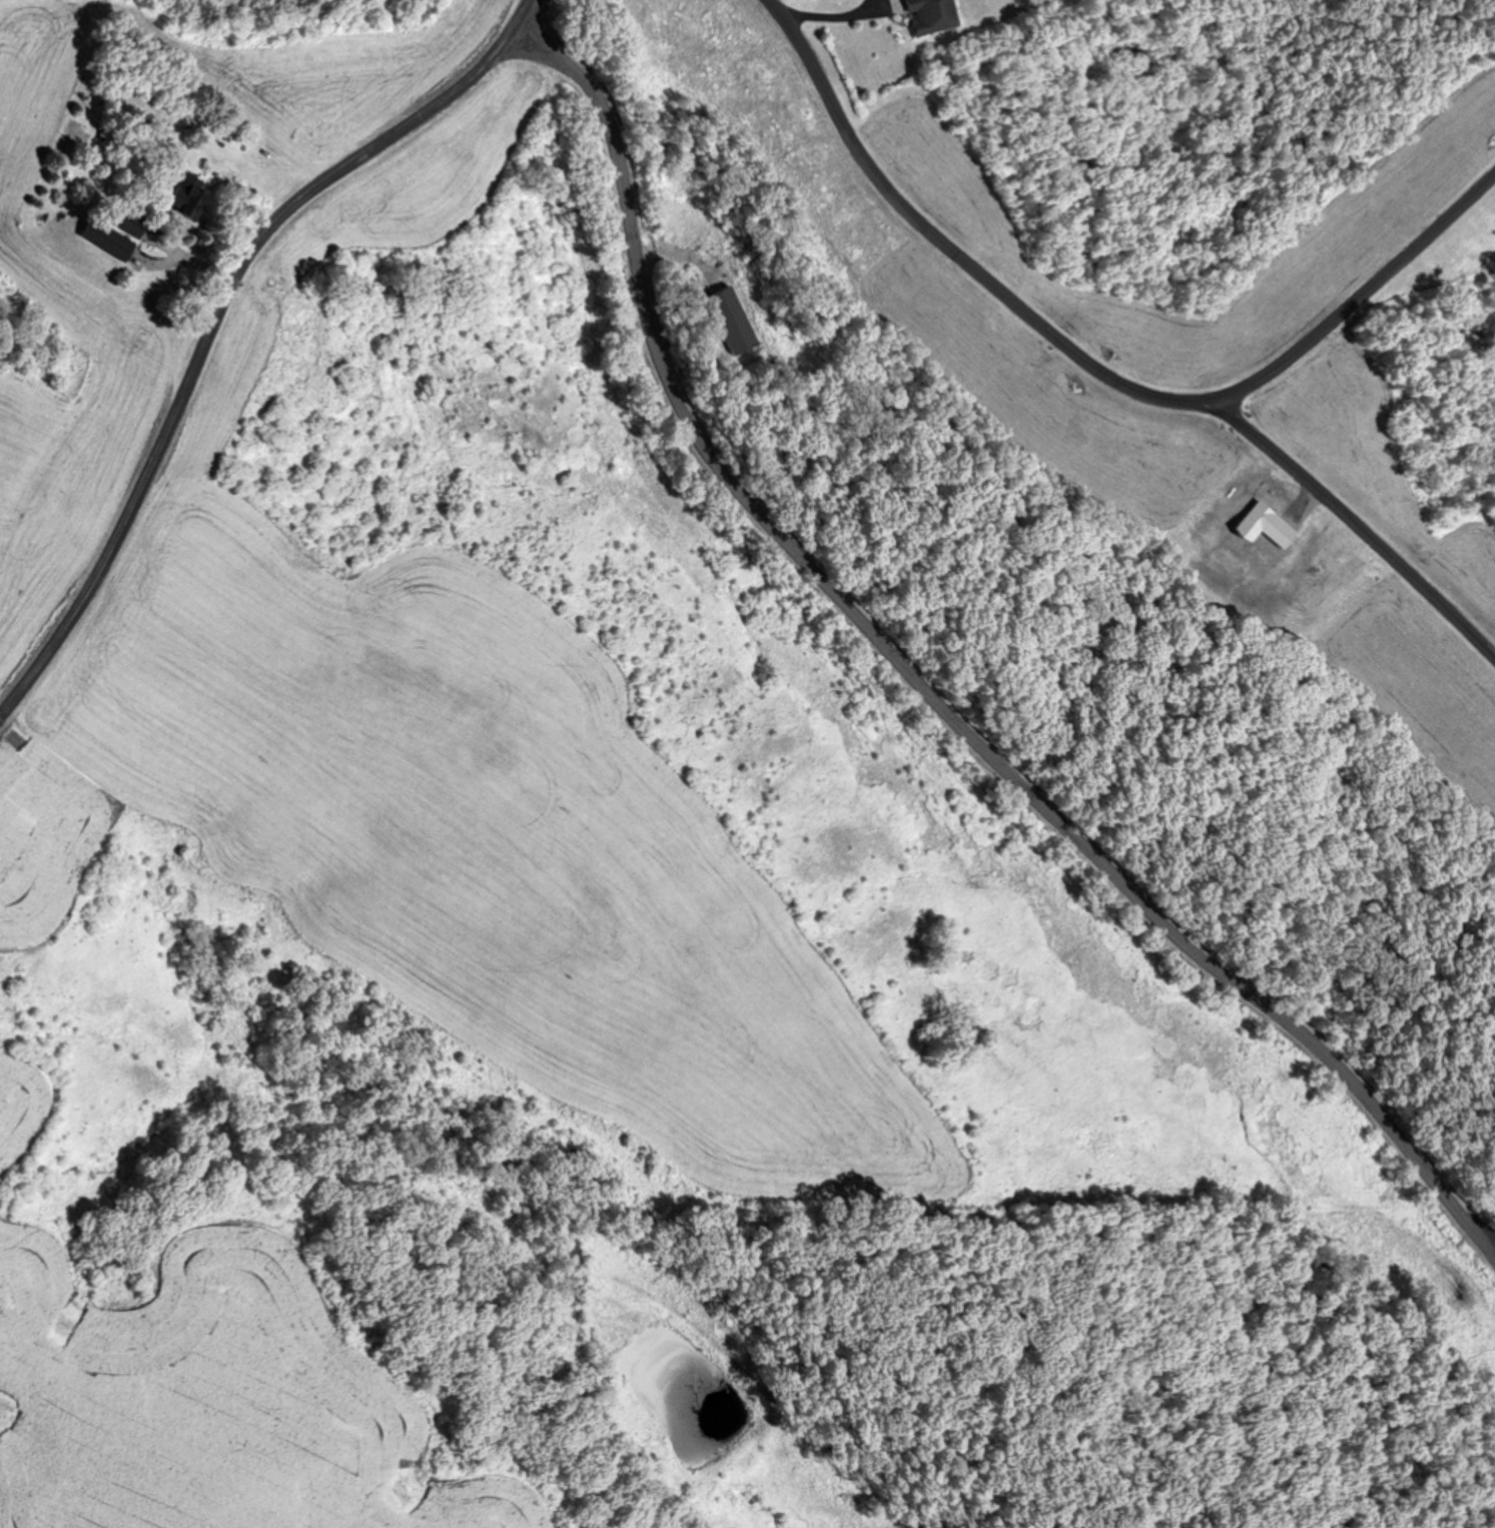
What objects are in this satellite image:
building: (928, 15)
building: (186, 197)
building: (127, 221)
building: (103, 237)
road: (199, 275)
building: (724, 319)
road: (226, 325)
building: (254, 340)
road: (1092, 367)
road: (1356, 528)
road: (924, 688)

